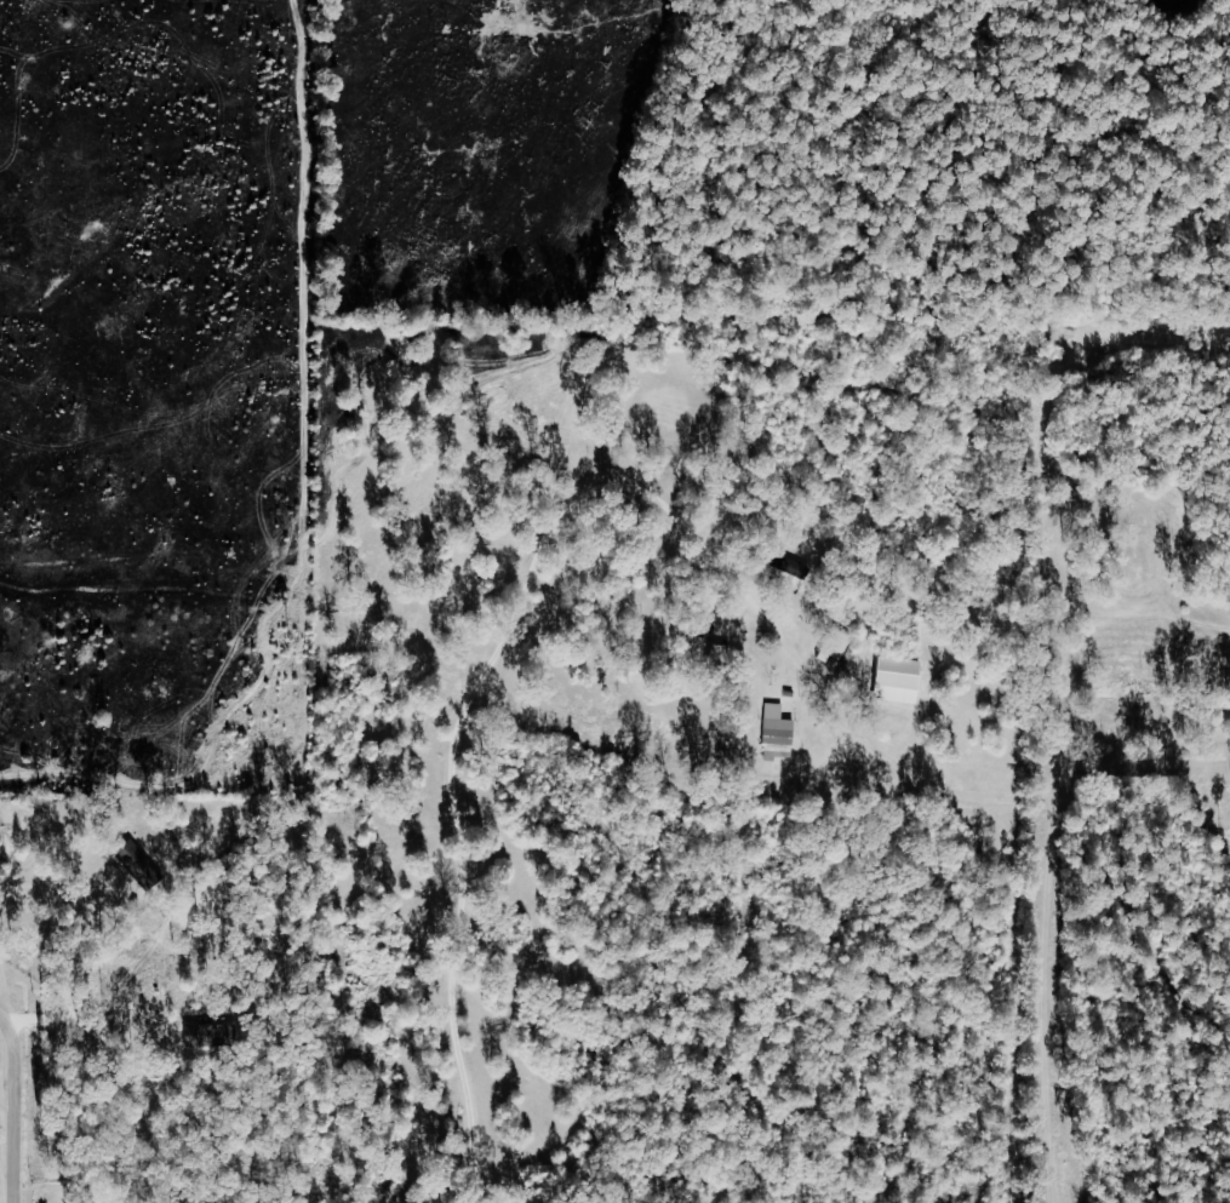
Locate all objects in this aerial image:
building: (789, 569)
building: (835, 645)
building: (899, 681)
building: (777, 734)
road: (1051, 946)
road: (23, 1101)

